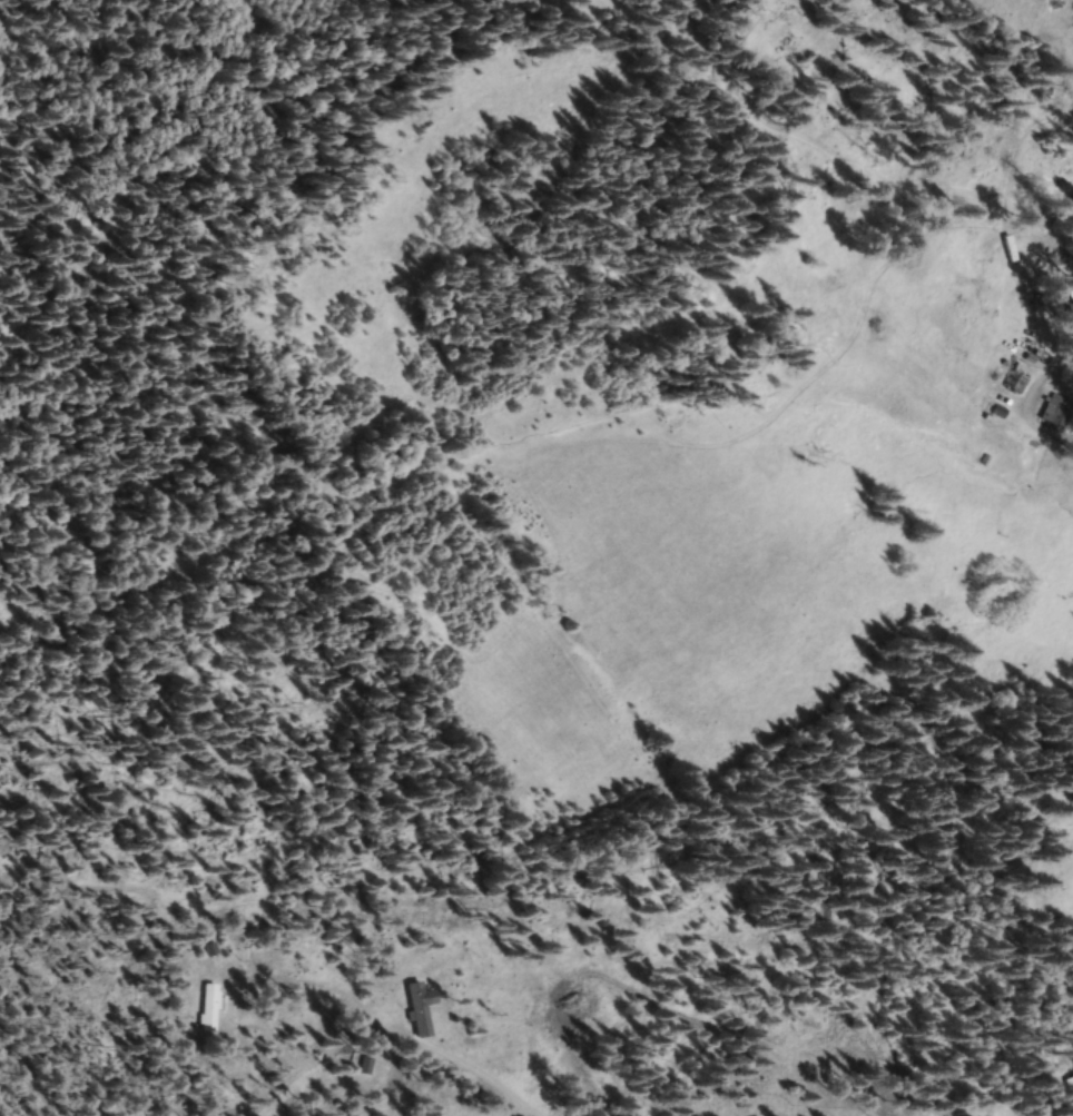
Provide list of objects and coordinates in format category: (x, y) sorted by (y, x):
building: (1055, 411)
building: (210, 1007)
building: (422, 1008)
road: (276, 1045)
building: (1067, 1085)
road: (464, 1097)

